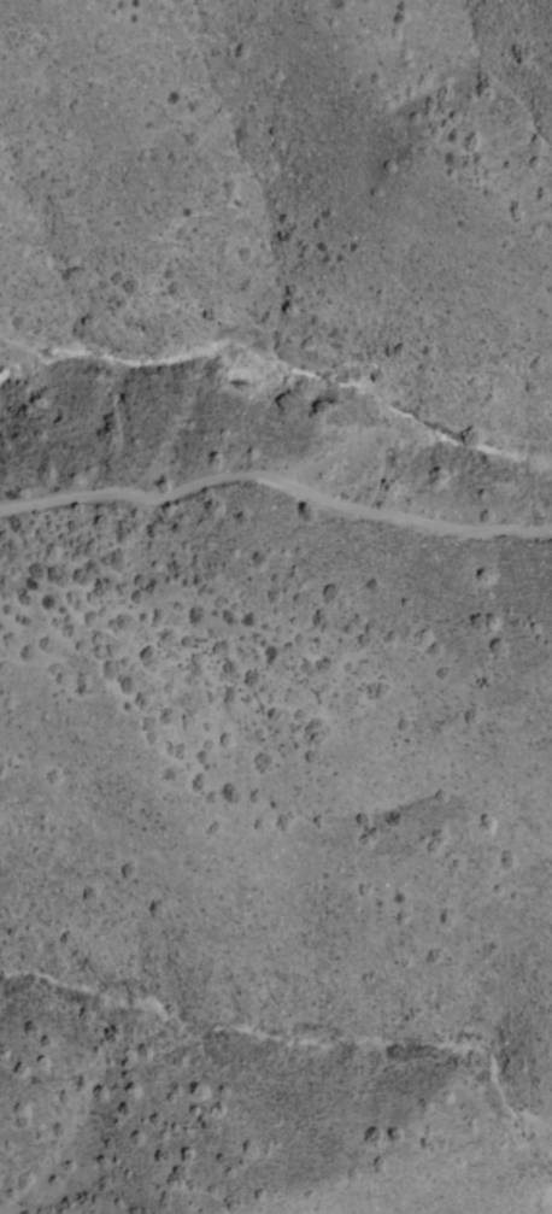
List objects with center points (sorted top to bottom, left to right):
road: (276, 474)

